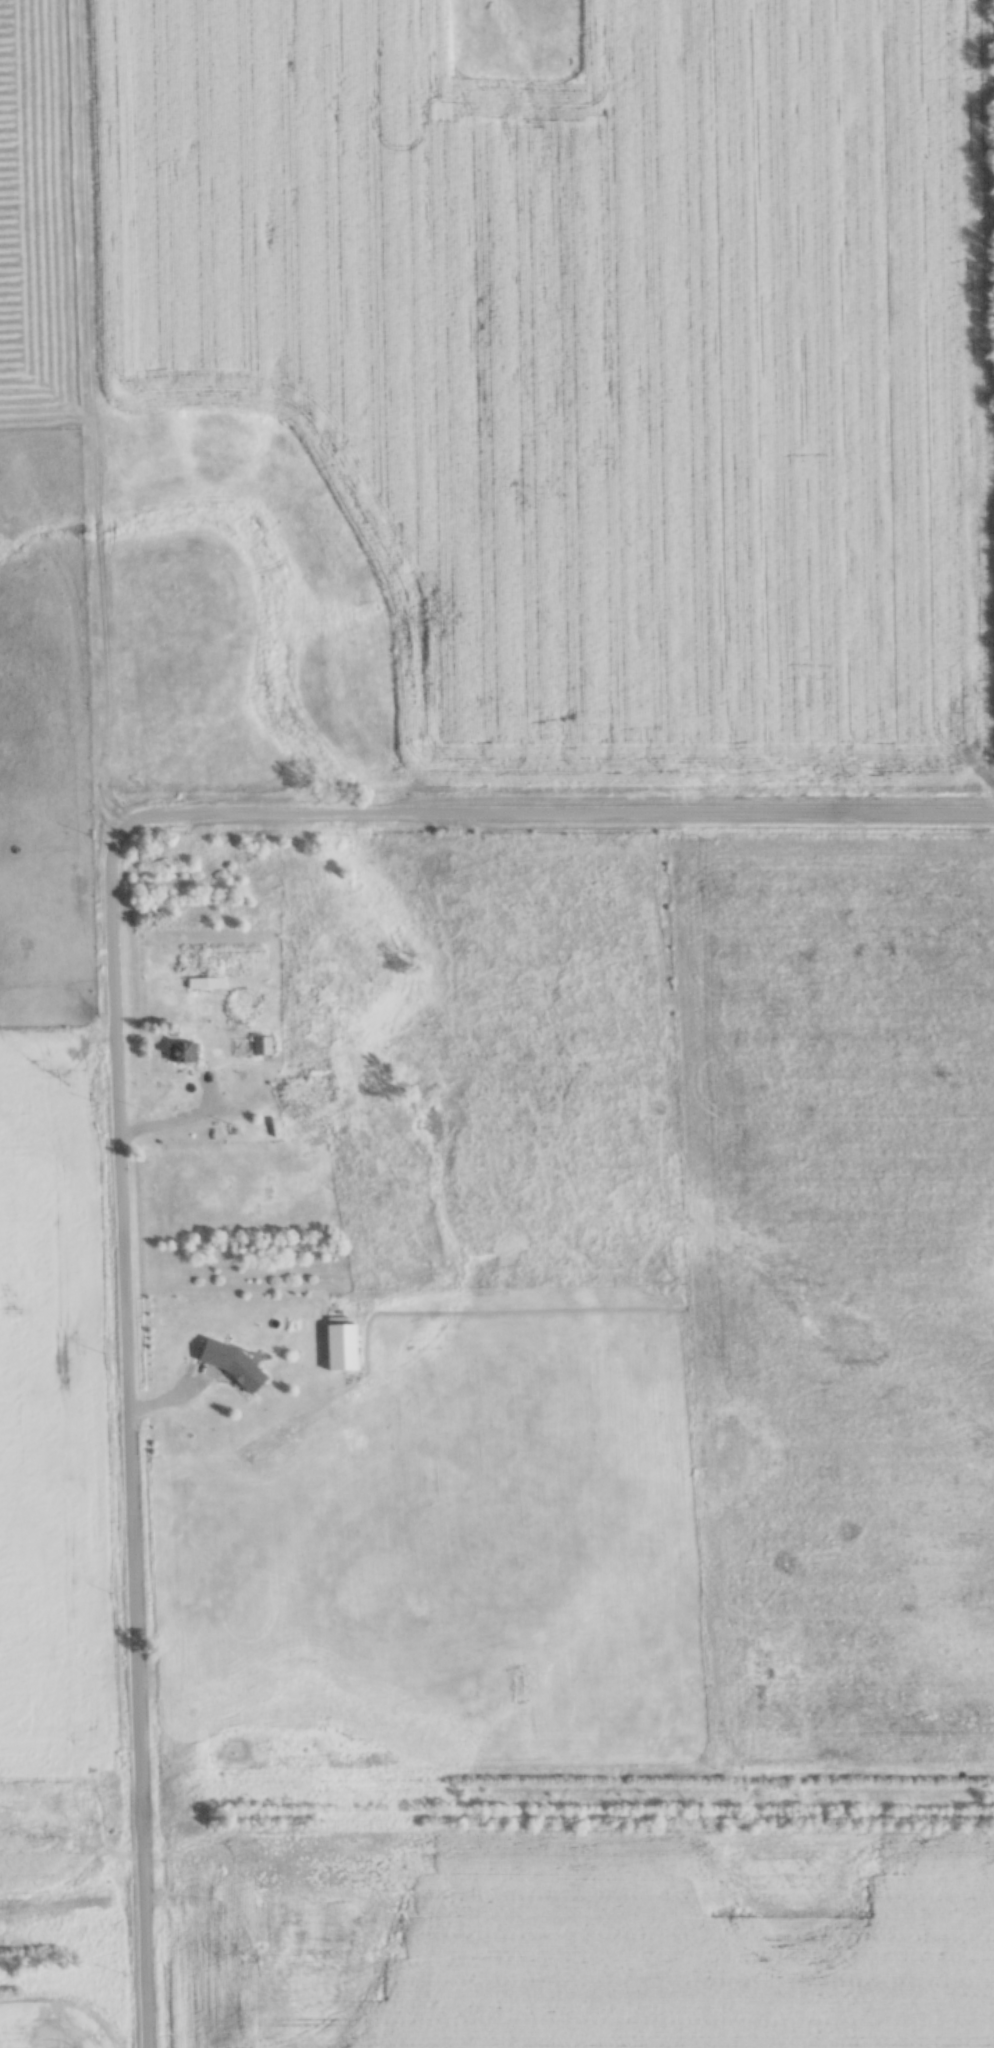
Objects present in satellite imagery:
crop: (595, 360)
road: (399, 808)
building: (205, 981)
building: (260, 1043)
building: (180, 1053)
building: (297, 1098)
road: (178, 1120)
building: (341, 1344)
crop: (47, 1416)
road: (131, 1589)

